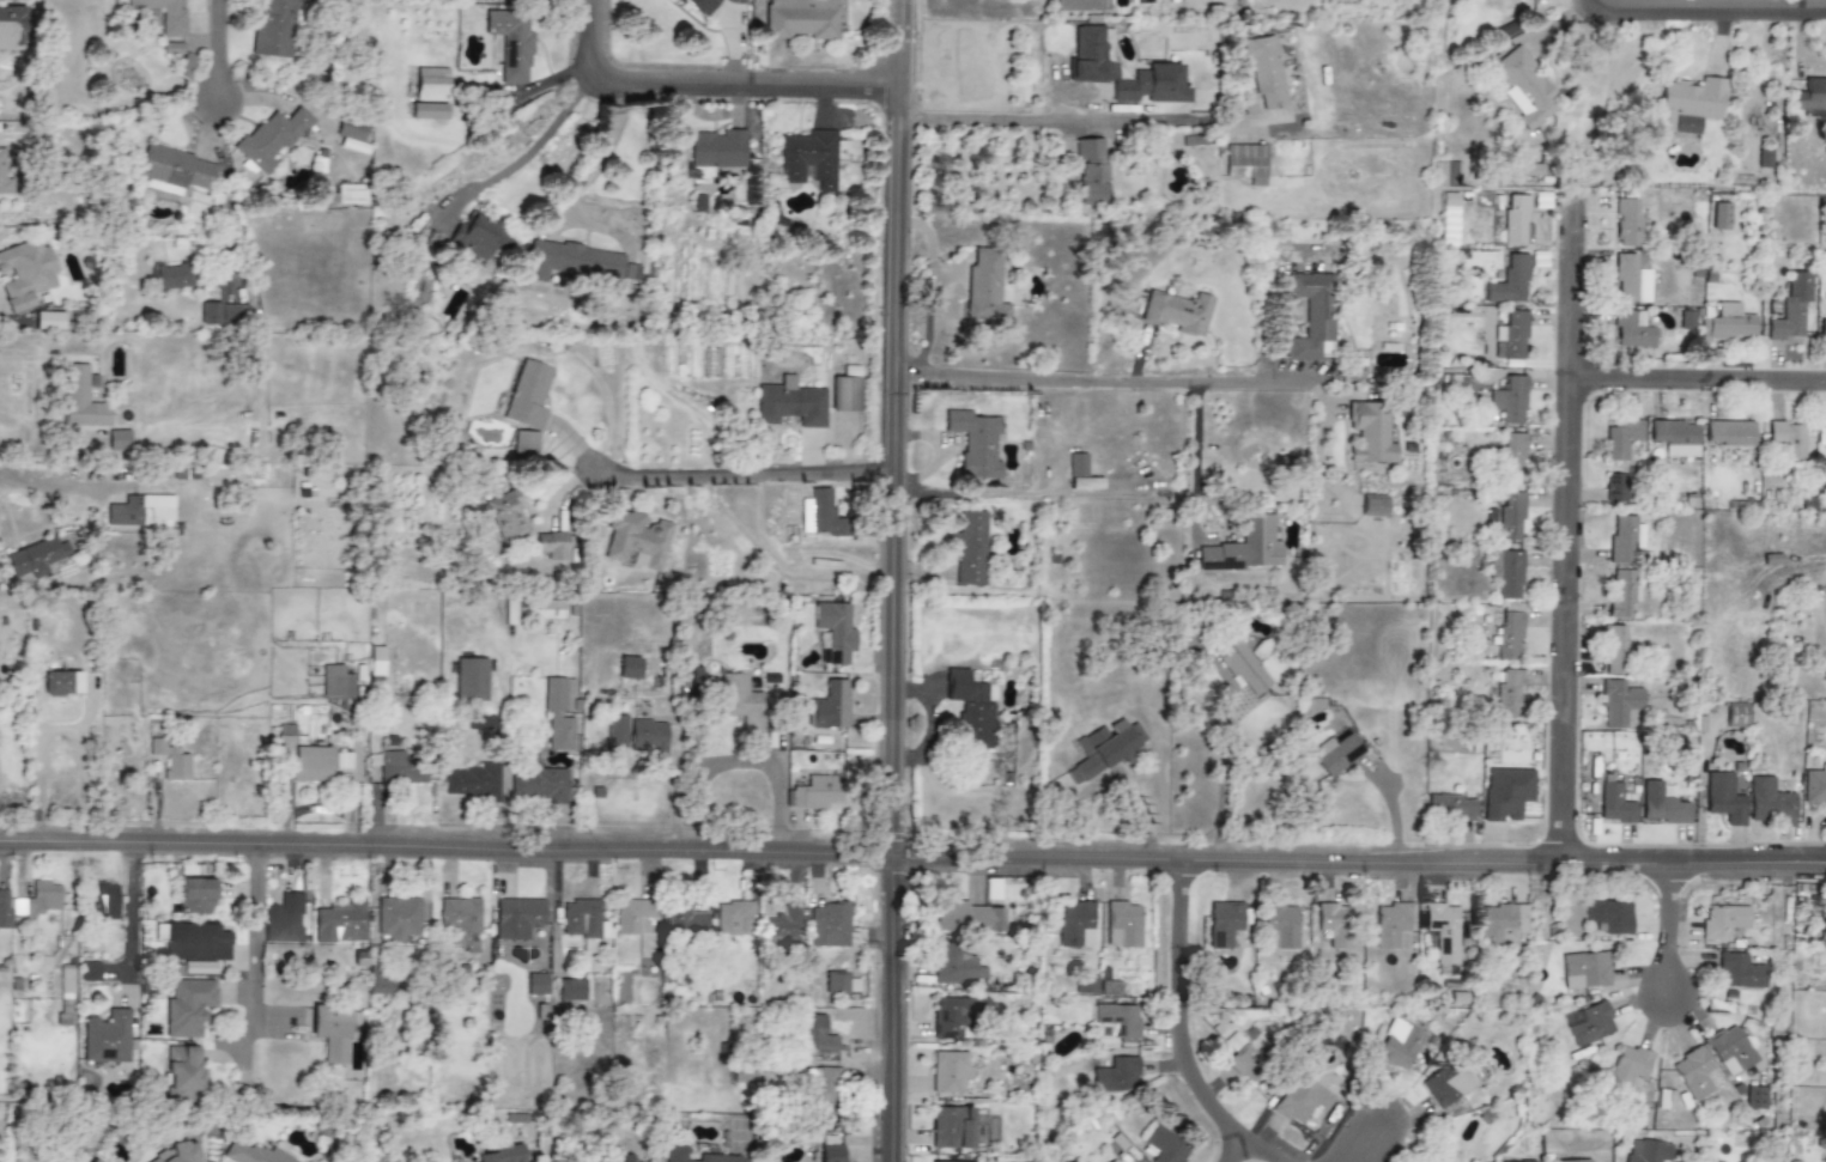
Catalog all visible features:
building: (1203, 0)
building: (739, 1)
building: (1142, 1)
road: (1585, 1)
road: (1705, 4)
building: (1079, 6)
building: (697, 7)
building: (163, 17)
building: (13, 23)
building: (803, 23)
building: (278, 30)
building: (510, 44)
building: (172, 49)
road: (217, 49)
building: (186, 67)
building: (1091, 67)
building: (1264, 72)
road: (714, 75)
building: (437, 85)
building: (1525, 89)
building: (1810, 98)
building: (1688, 105)
building: (433, 116)
road: (1079, 120)
building: (360, 136)
building: (277, 139)
road: (603, 141)
building: (723, 152)
road: (529, 153)
building: (811, 158)
building: (1246, 163)
building: (1091, 172)
building: (182, 174)
building: (1445, 174)
building: (4, 177)
building: (352, 197)
building: (1719, 217)
building: (1515, 219)
building: (1626, 220)
building: (478, 236)
building: (577, 266)
building: (175, 272)
building: (631, 273)
building: (26, 280)
building: (1630, 280)
building: (1509, 282)
building: (983, 286)
road: (929, 299)
building: (1790, 308)
building: (1177, 312)
building: (223, 315)
building: (1312, 316)
building: (1686, 320)
building: (48, 321)
road: (7, 322)
building: (1728, 323)
building: (1822, 329)
building: (1632, 330)
building: (1512, 336)
road: (1699, 382)
road: (1094, 387)
building: (851, 395)
building: (532, 401)
building: (1510, 401)
building: (93, 403)
building: (795, 408)
road: (890, 430)
building: (1371, 433)
building: (1728, 433)
building: (1825, 433)
building: (1674, 438)
building: (1619, 439)
building: (1786, 439)
building: (119, 440)
building: (253, 442)
building: (526, 443)
building: (975, 444)
road: (29, 446)
building: (1512, 457)
building: (1079, 473)
road: (742, 474)
road: (42, 476)
building: (1615, 488)
building: (1372, 506)
building: (144, 513)
road: (1189, 513)
building: (505, 515)
building: (1509, 517)
building: (833, 519)
road: (1569, 534)
building: (1622, 540)
building: (635, 542)
building: (551, 545)
building: (969, 548)
building: (1245, 548)
building: (37, 558)
building: (1510, 574)
building: (1622, 592)
building: (539, 609)
building: (835, 631)
building: (1509, 635)
building: (1614, 650)
building: (376, 664)
building: (629, 668)
building: (1243, 669)
building: (469, 679)
building: (335, 682)
building: (61, 683)
building: (1509, 693)
building: (740, 701)
building: (1618, 702)
building: (829, 706)
building: (969, 706)
building: (558, 713)
building: (1734, 716)
building: (480, 722)
road: (60, 728)
building: (618, 732)
building: (647, 738)
building: (1105, 748)
building: (1337, 752)
building: (301, 758)
building: (171, 760)
building: (400, 768)
building: (471, 780)
building: (538, 784)
road: (1223, 784)
building: (1814, 787)
building: (815, 792)
building: (1506, 793)
building: (1723, 798)
building: (1769, 803)
building: (1614, 804)
building: (1661, 805)
building: (1452, 808)
road: (439, 854)
road: (1353, 868)
building: (195, 895)
building: (29, 902)
building: (103, 902)
building: (631, 914)
building: (460, 917)
building: (516, 917)
building: (1608, 917)
building: (966, 918)
building: (398, 919)
building: (734, 919)
building: (284, 921)
building: (582, 921)
building: (684, 921)
building: (1722, 921)
building: (339, 923)
building: (1224, 923)
building: (1389, 924)
road: (131, 925)
building: (829, 925)
building: (1075, 925)
building: (1122, 925)
building: (1335, 925)
building: (782, 926)
building: (1503, 926)
building: (1281, 927)
building: (1444, 936)
road: (1667, 938)
building: (195, 942)
road: (250, 961)
building: (954, 965)
building: (199, 967)
building: (1584, 971)
building: (89, 972)
building: (1736, 972)
building: (66, 982)
building: (378, 982)
building: (839, 982)
building: (1086, 985)
building: (570, 990)
building: (188, 1006)
road: (887, 1011)
building: (956, 1015)
building: (1115, 1022)
building: (1588, 1024)
building: (330, 1032)
road: (1184, 1033)
building: (820, 1036)
building: (107, 1038)
building: (1399, 1045)
building: (1728, 1051)
building: (1245, 1058)
building: (1627, 1066)
building: (183, 1071)
building: (948, 1071)
building: (742, 1073)
building: (1692, 1073)
building: (1120, 1075)
building: (1448, 1084)
building: (823, 1094)
building: (1753, 1097)
building: (1300, 1101)
building: (951, 1127)
road: (1372, 1144)
building: (1165, 1146)
road: (1239, 1150)
building: (1645, 1151)
building: (830, 1152)
building: (178, 1154)
building: (253, 1155)
building: (504, 1155)
building: (697, 1156)
building: (1446, 1160)
building: (91, 1161)
building: (945, 1161)
building: (1111, 1161)
building: (1431, 1161)
building: (1502, 1161)
building: (1575, 1161)

